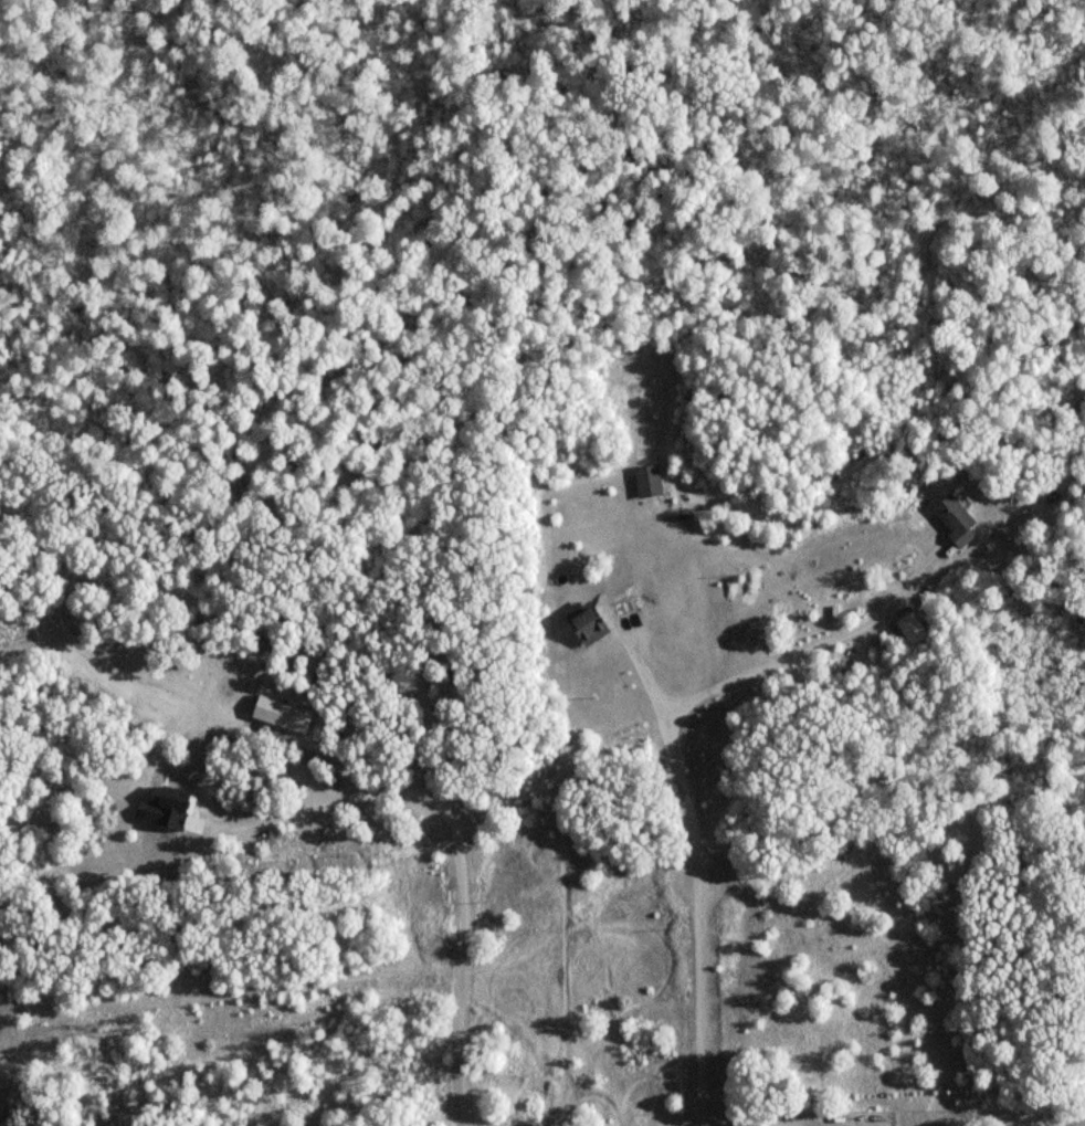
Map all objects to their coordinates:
building: (645, 482)
building: (952, 518)
building: (583, 621)
road: (644, 677)
road: (675, 764)
road: (769, 1116)

